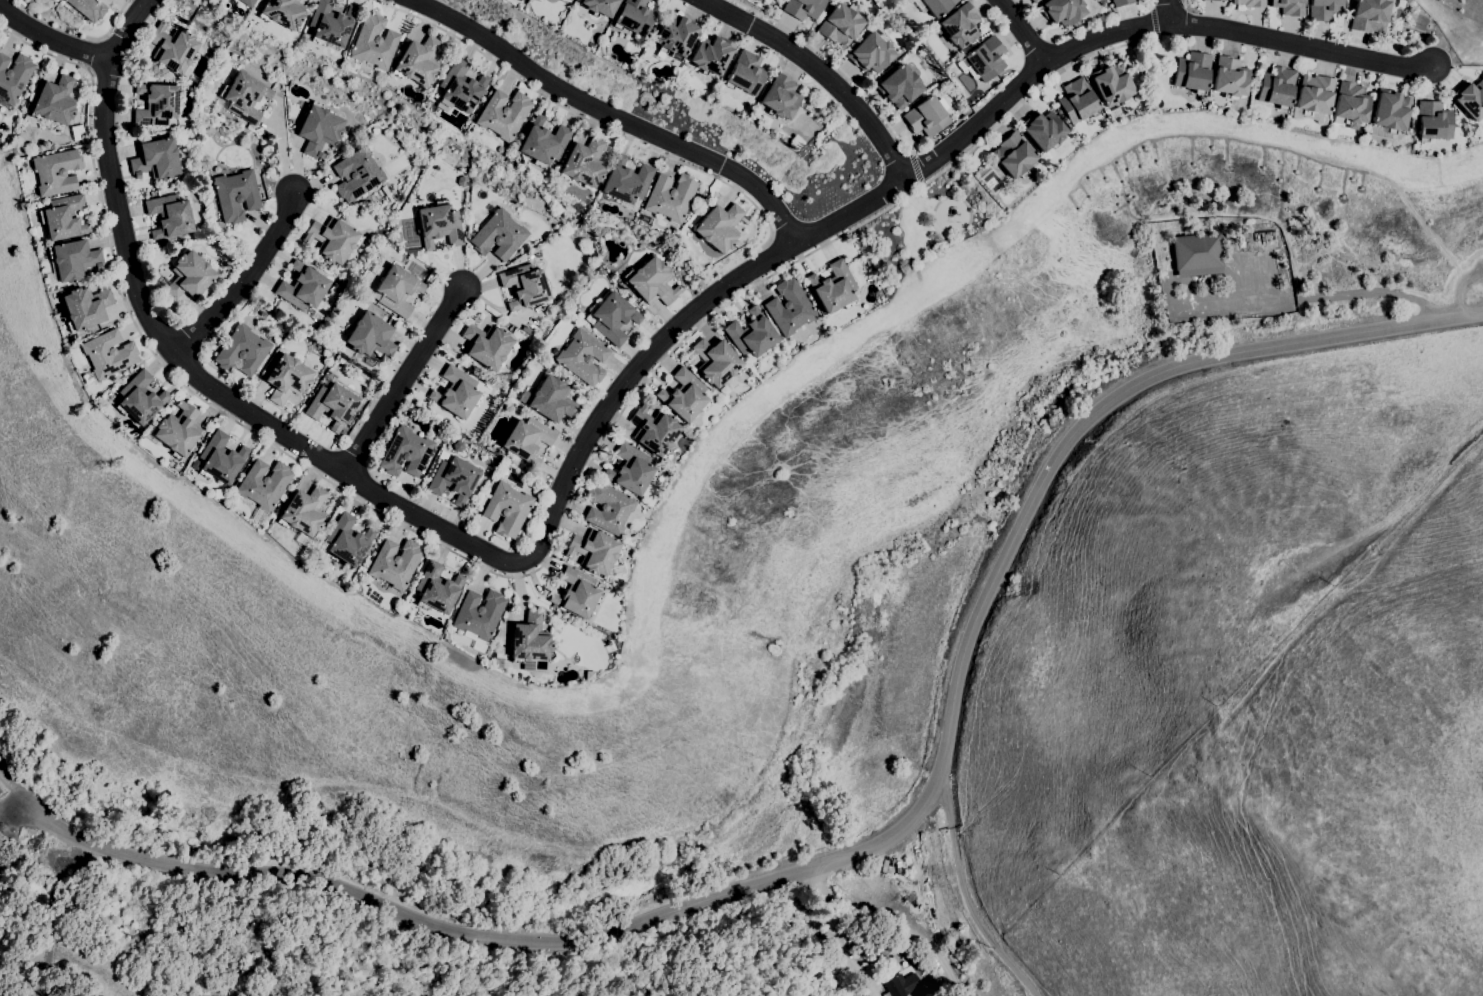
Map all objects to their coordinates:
building: (62, 0)
building: (757, 0)
building: (1218, 0)
building: (1034, 1)
building: (248, 2)
building: (1122, 2)
road: (1153, 2)
building: (1250, 3)
building: (599, 6)
building: (937, 6)
building: (1289, 7)
building: (88, 8)
building: (803, 8)
building: (1324, 9)
road: (1171, 10)
building: (1062, 11)
building: (282, 12)
building: (1369, 16)
building: (633, 17)
road: (1155, 20)
building: (330, 24)
building: (840, 25)
building: (960, 25)
road: (112, 26)
road: (1023, 30)
building: (676, 34)
road: (52, 38)
building: (374, 42)
road: (1302, 44)
building: (173, 48)
building: (871, 53)
road: (93, 54)
building: (711, 55)
building: (985, 58)
building: (418, 61)
road: (835, 63)
road: (823, 70)
building: (745, 73)
building: (1191, 75)
building: (14, 77)
building: (1230, 77)
building: (1112, 84)
building: (461, 87)
building: (899, 87)
building: (1276, 87)
building: (243, 97)
building: (780, 97)
building: (1314, 98)
building: (1470, 99)
building: (55, 100)
building: (1078, 101)
building: (156, 104)
building: (1351, 105)
building: (1115, 113)
building: (503, 114)
road: (616, 114)
building: (1389, 114)
road: (589, 117)
building: (926, 117)
road: (981, 120)
building: (764, 121)
building: (1434, 121)
building: (319, 129)
building: (1043, 130)
building: (1478, 130)
building: (543, 142)
building: (1014, 155)
building: (156, 159)
building: (584, 163)
road: (918, 165)
building: (56, 172)
building: (357, 174)
building: (462, 181)
building: (627, 183)
building: (236, 195)
building: (670, 196)
building: (170, 216)
building: (64, 217)
building: (643, 218)
building: (439, 225)
park: (925, 225)
building: (719, 227)
building: (499, 235)
building: (333, 239)
building: (1197, 254)
building: (74, 259)
building: (190, 276)
road: (247, 279)
building: (652, 282)
building: (525, 284)
building: (303, 287)
building: (834, 287)
building: (397, 290)
road: (1370, 292)
building: (790, 307)
building: (85, 308)
building: (611, 317)
building: (752, 334)
building: (370, 336)
building: (487, 345)
building: (242, 351)
building: (108, 354)
building: (582, 357)
building: (717, 361)
road: (403, 377)
building: (287, 378)
building: (724, 390)
building: (457, 393)
building: (686, 395)
building: (140, 398)
building: (550, 399)
building: (332, 405)
building: (508, 407)
building: (178, 430)
building: (654, 430)
building: (527, 439)
building: (459, 446)
building: (406, 452)
building: (221, 458)
building: (631, 469)
building: (453, 477)
road: (365, 483)
building: (264, 484)
building: (482, 500)
building: (507, 508)
building: (608, 508)
building: (304, 511)
building: (347, 540)
building: (595, 551)
building: (395, 563)
road: (536, 569)
building: (437, 588)
building: (577, 593)
building: (407, 608)
building: (479, 617)
building: (531, 643)
road: (3, 778)
road: (9, 785)
road: (874, 850)
road: (965, 897)
building: (902, 984)

